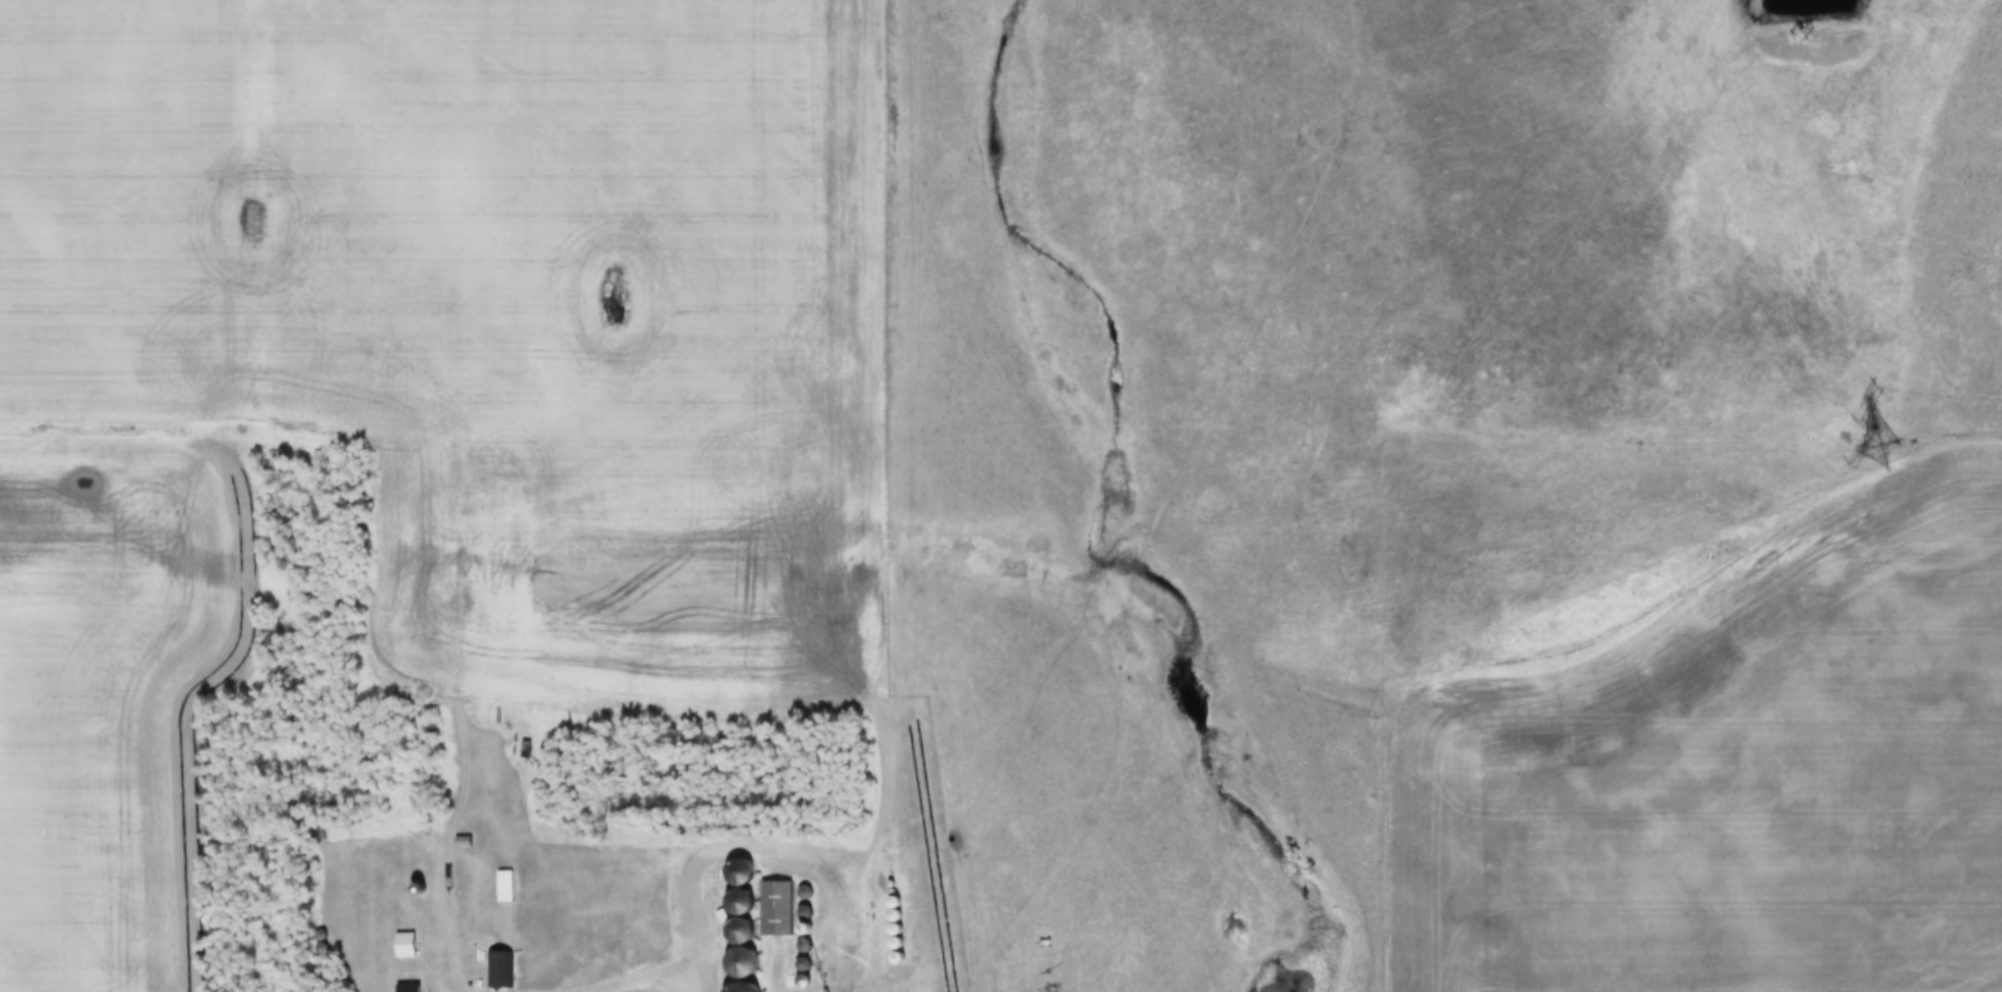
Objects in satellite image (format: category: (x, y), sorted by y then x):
road: (1269, 287)
power tower: (1895, 450)
building: (463, 844)
building: (505, 889)
building: (775, 910)
building: (405, 948)
building: (500, 972)
road: (452, 979)
building: (407, 989)

